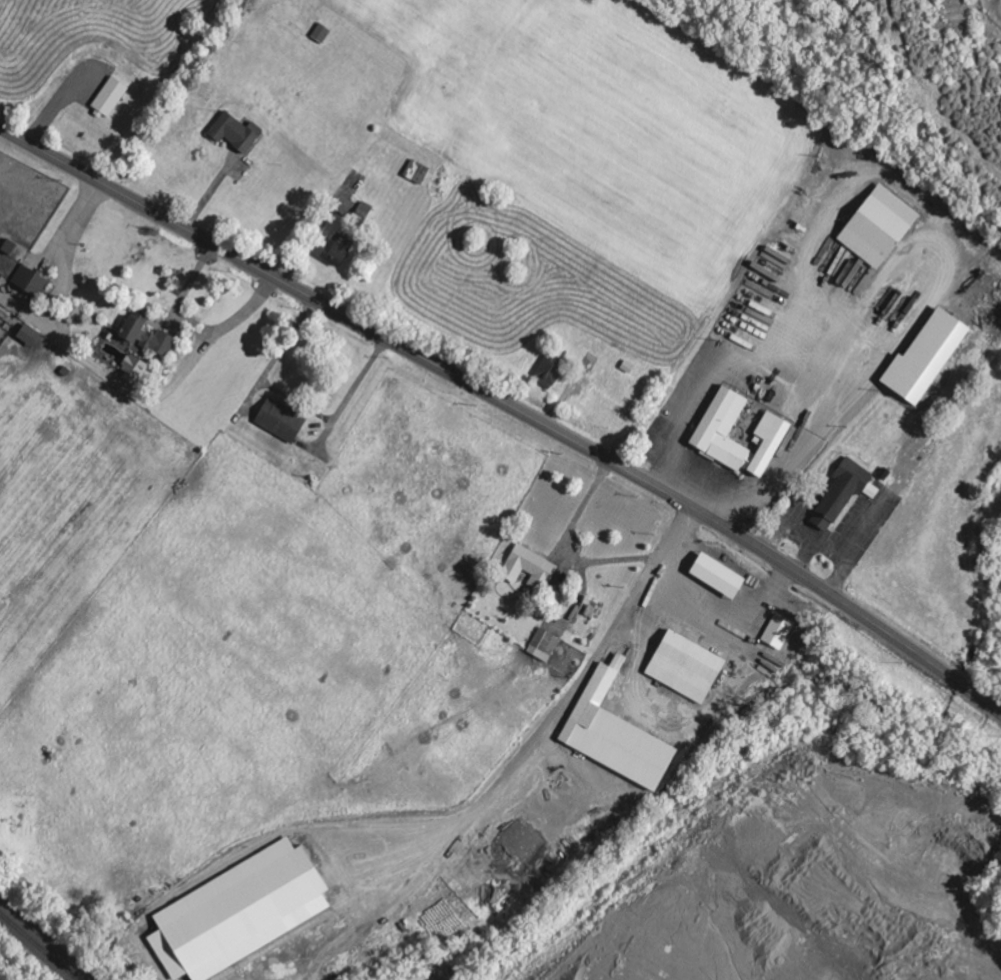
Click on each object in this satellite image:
building: (110, 97)
building: (236, 132)
building: (419, 172)
building: (879, 226)
building: (336, 253)
building: (30, 279)
road: (357, 322)
building: (29, 335)
building: (148, 337)
building: (926, 357)
building: (134, 369)
building: (551, 369)
building: (281, 419)
building: (715, 430)
building: (844, 493)
building: (531, 568)
building: (718, 576)
road: (858, 614)
building: (779, 631)
building: (544, 645)
building: (686, 667)
building: (616, 734)
park: (990, 888)
building: (239, 912)
railway: (47, 939)
railway: (39, 946)

